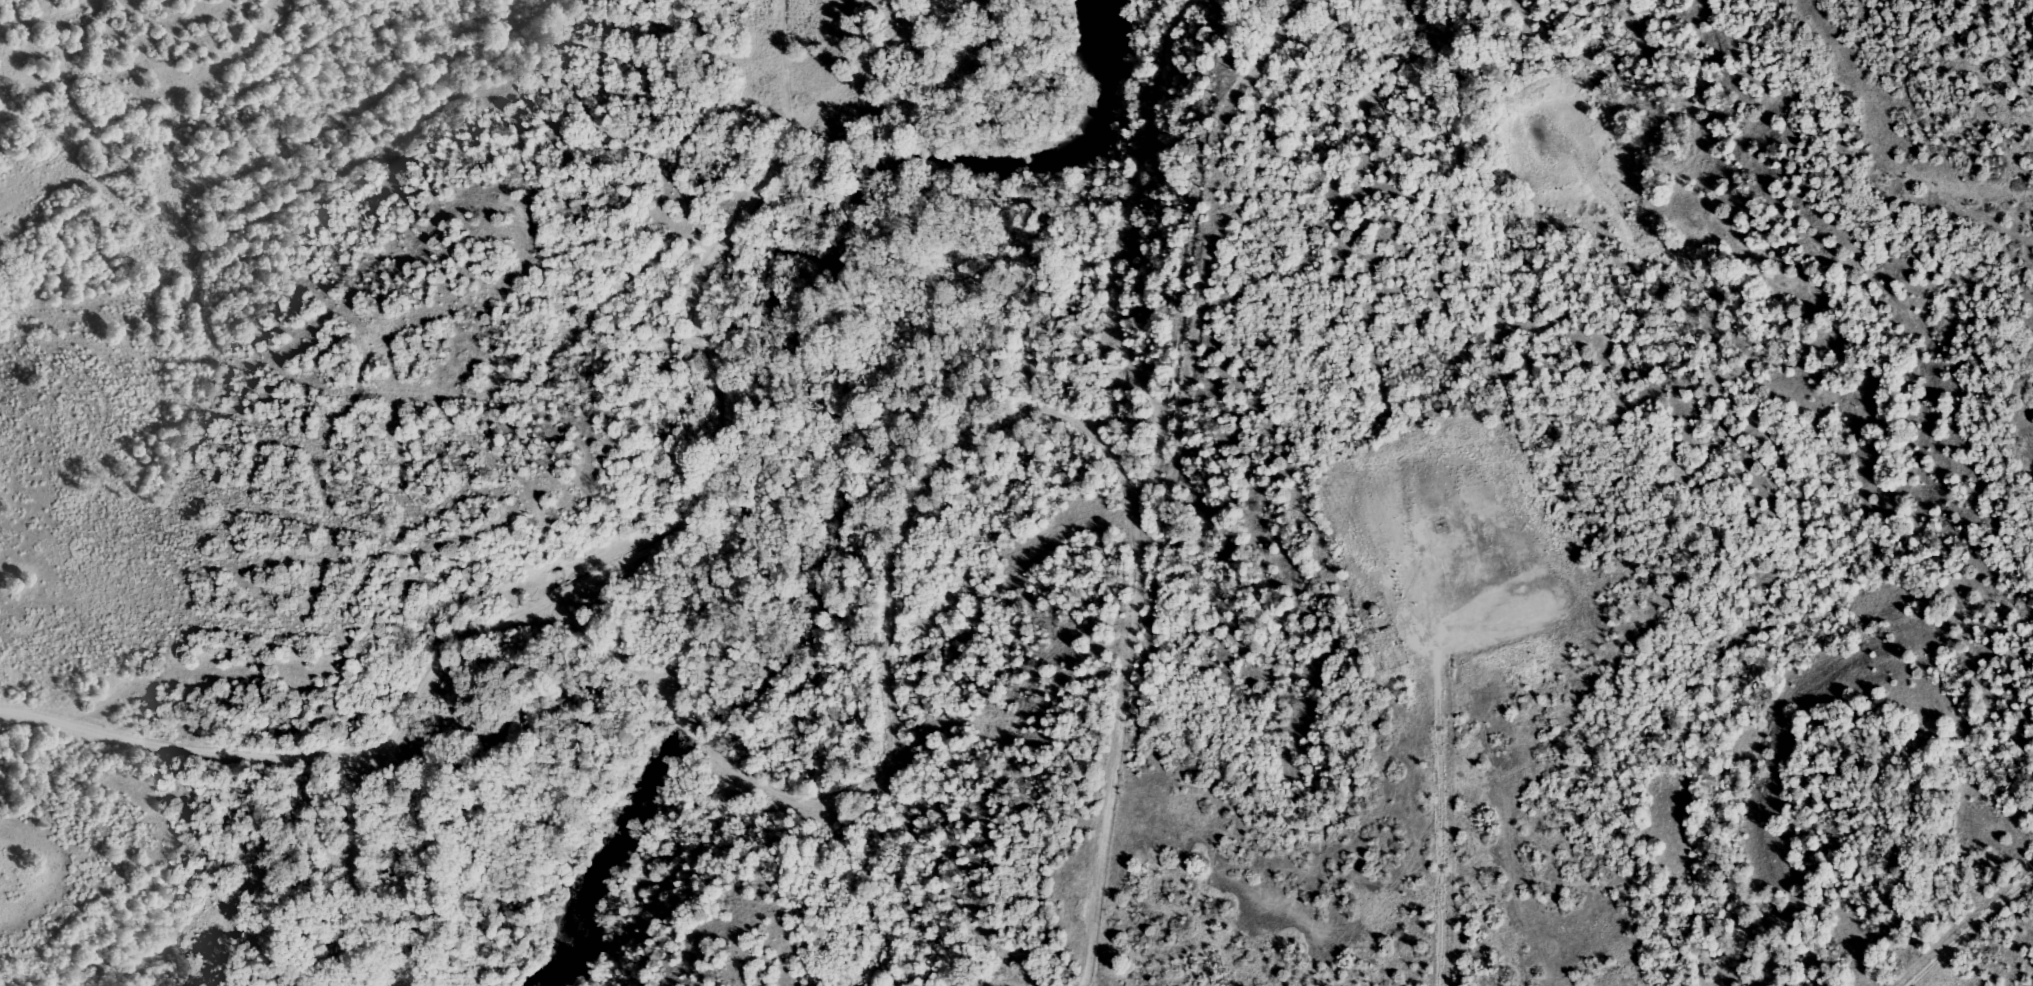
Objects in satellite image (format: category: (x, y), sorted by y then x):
road: (868, 67)
road: (1773, 89)
road: (653, 539)
road: (187, 748)
road: (355, 775)

